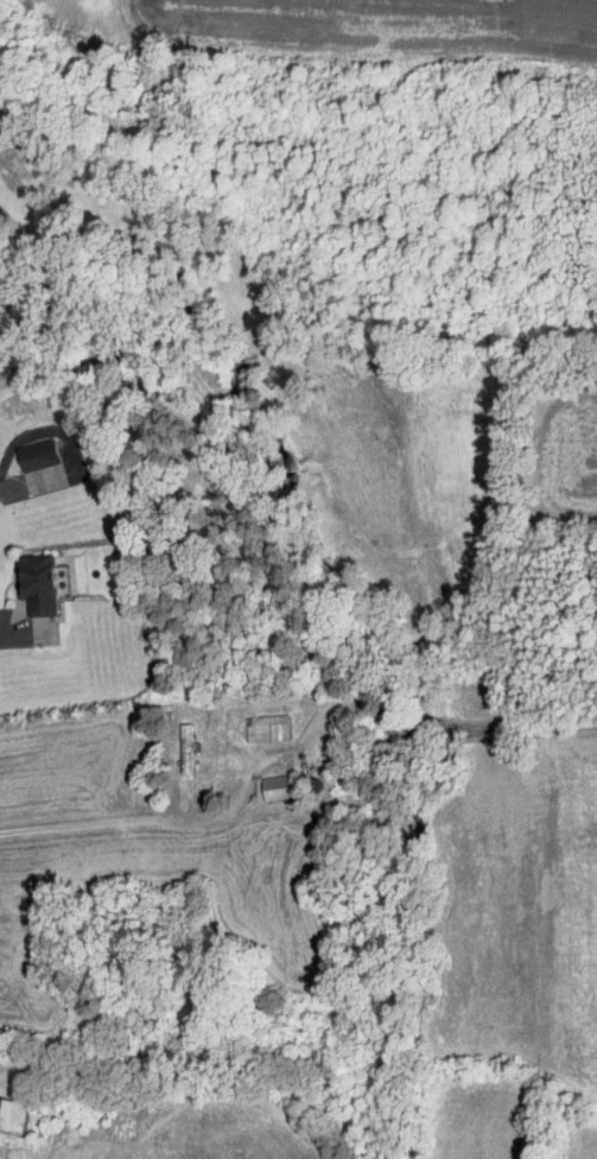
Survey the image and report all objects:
building: (39, 454)
road: (13, 484)
building: (40, 584)
road: (19, 635)
building: (268, 727)
building: (185, 748)
building: (282, 786)
road: (184, 819)
building: (13, 1114)

